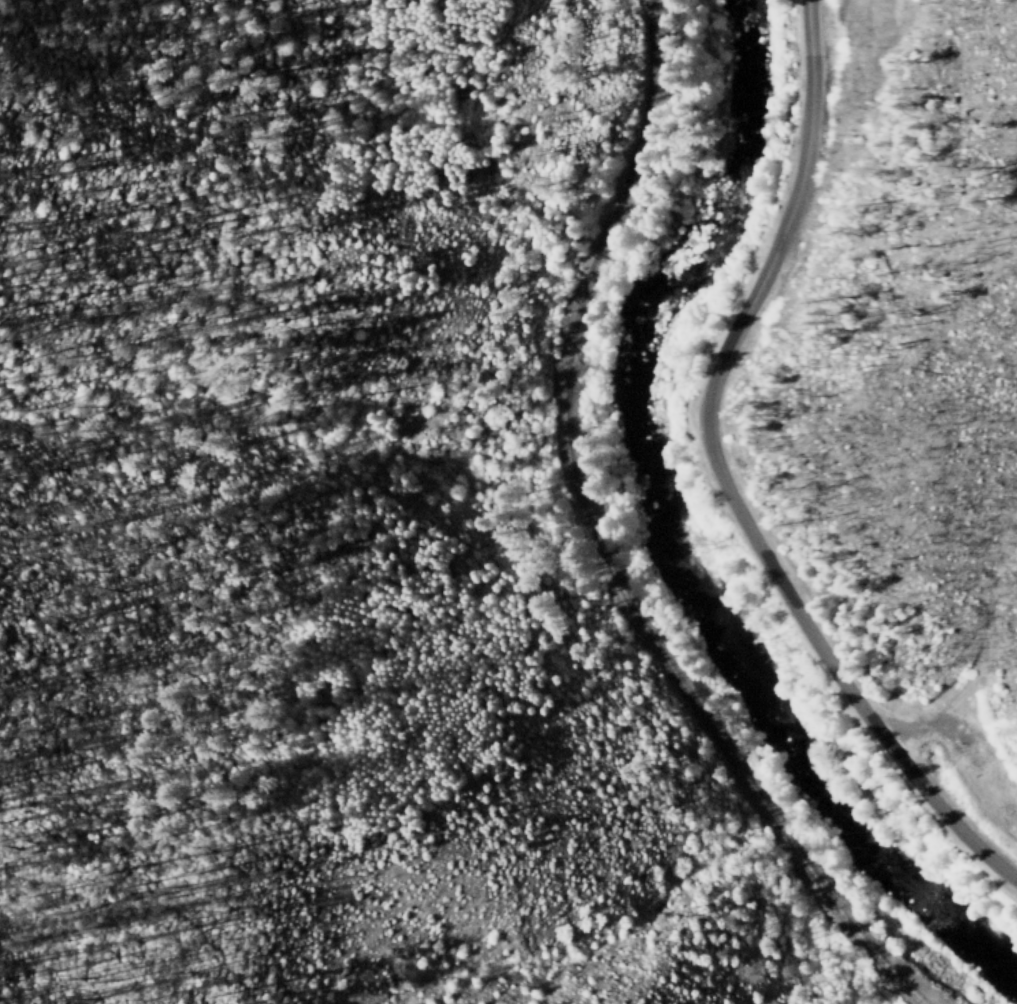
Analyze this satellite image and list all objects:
road: (720, 478)
railway: (596, 543)

